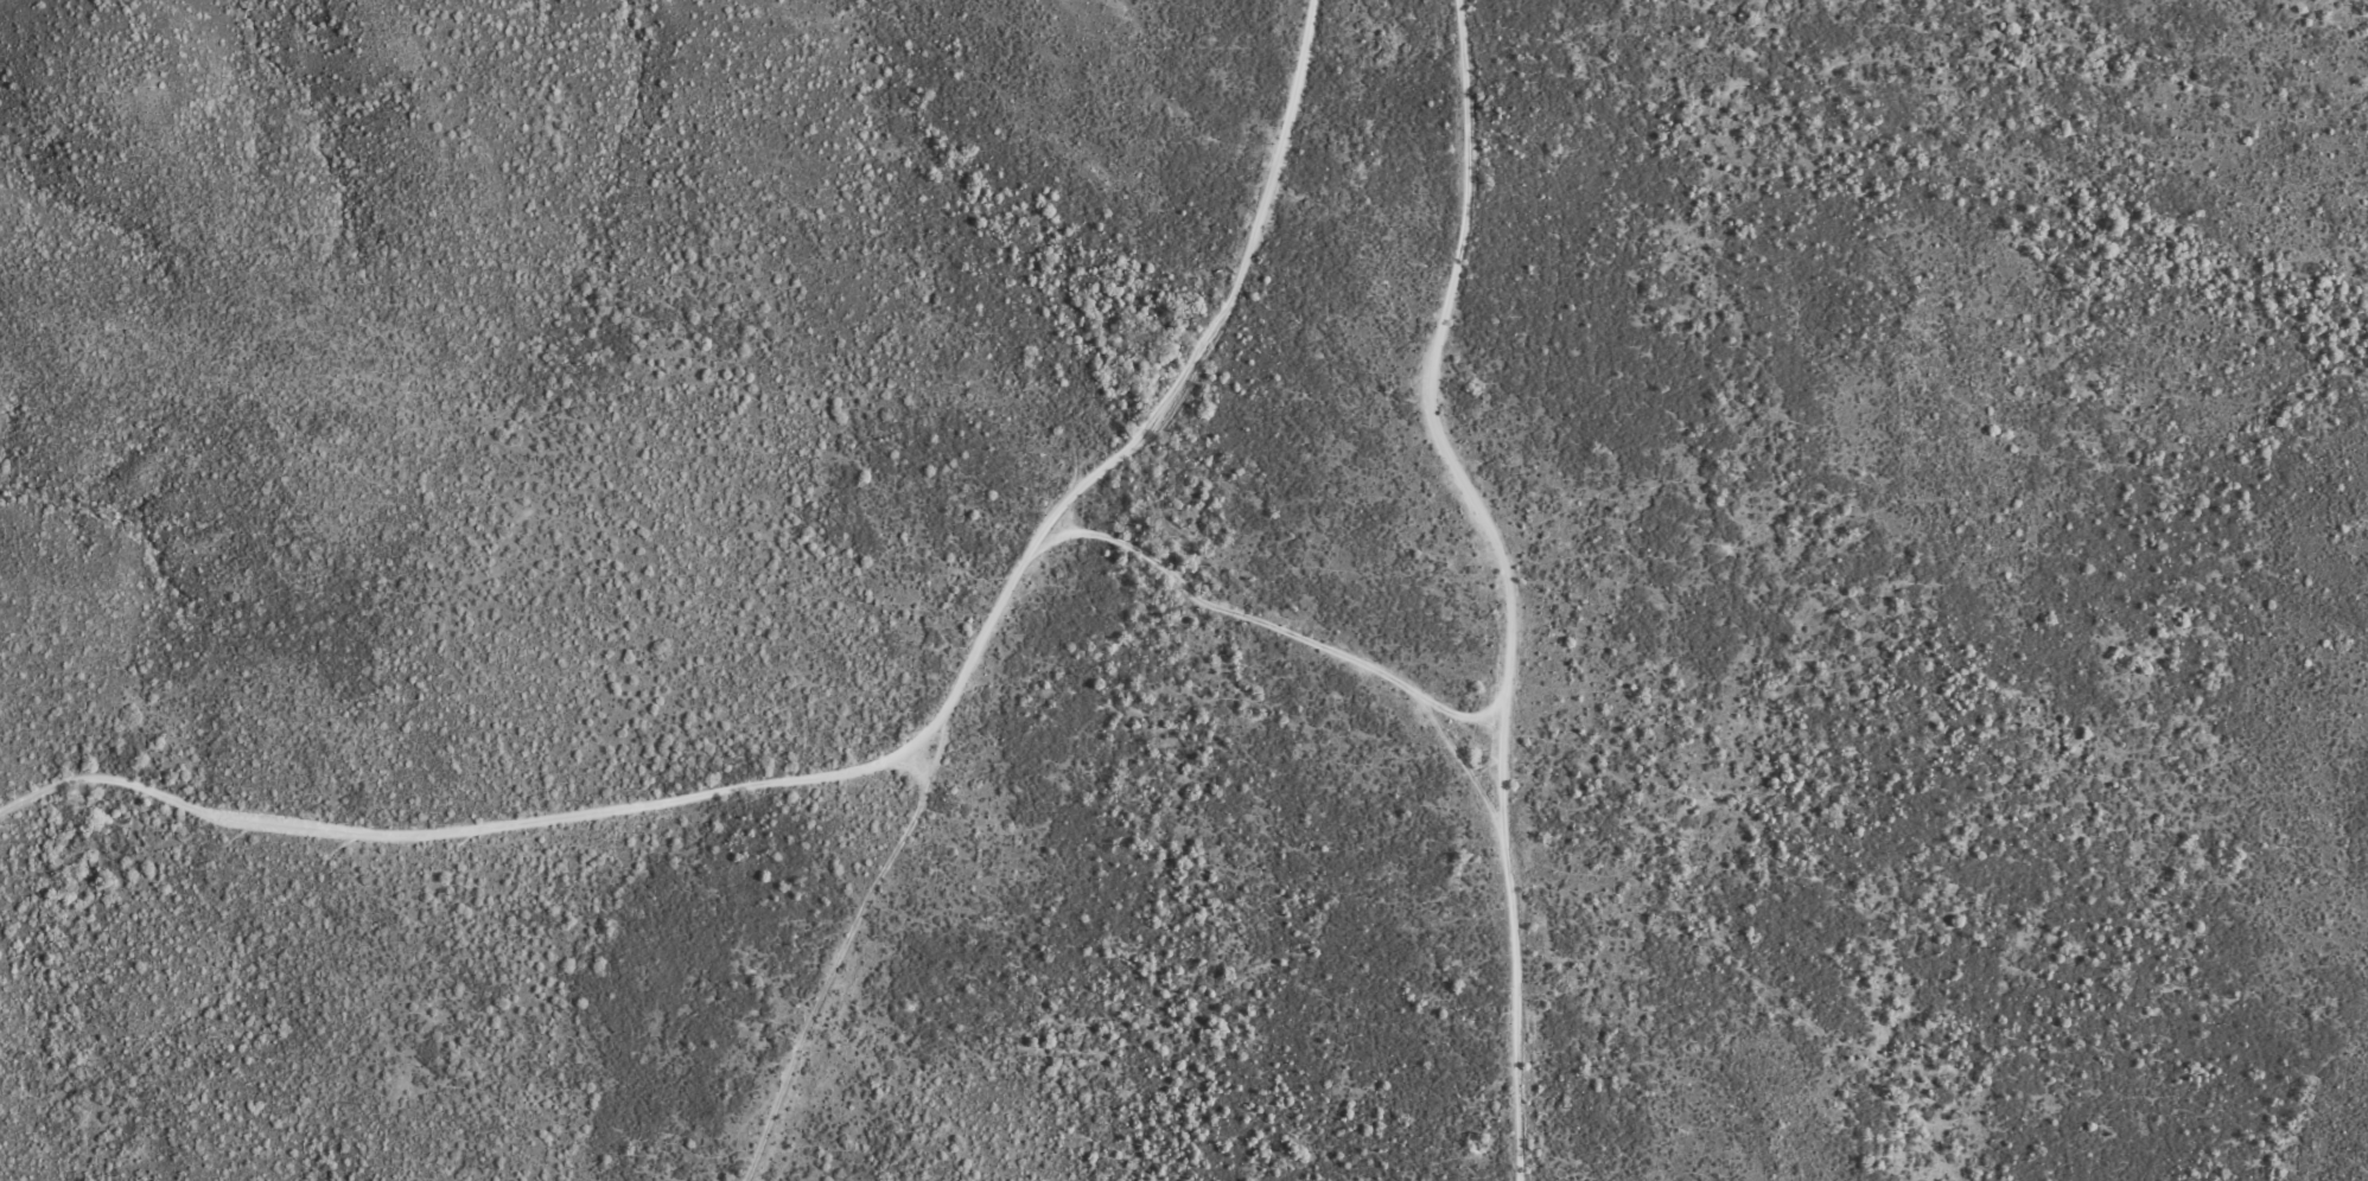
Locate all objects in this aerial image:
road: (1516, 579)
road: (1294, 631)
road: (944, 759)
road: (884, 760)
road: (847, 953)

